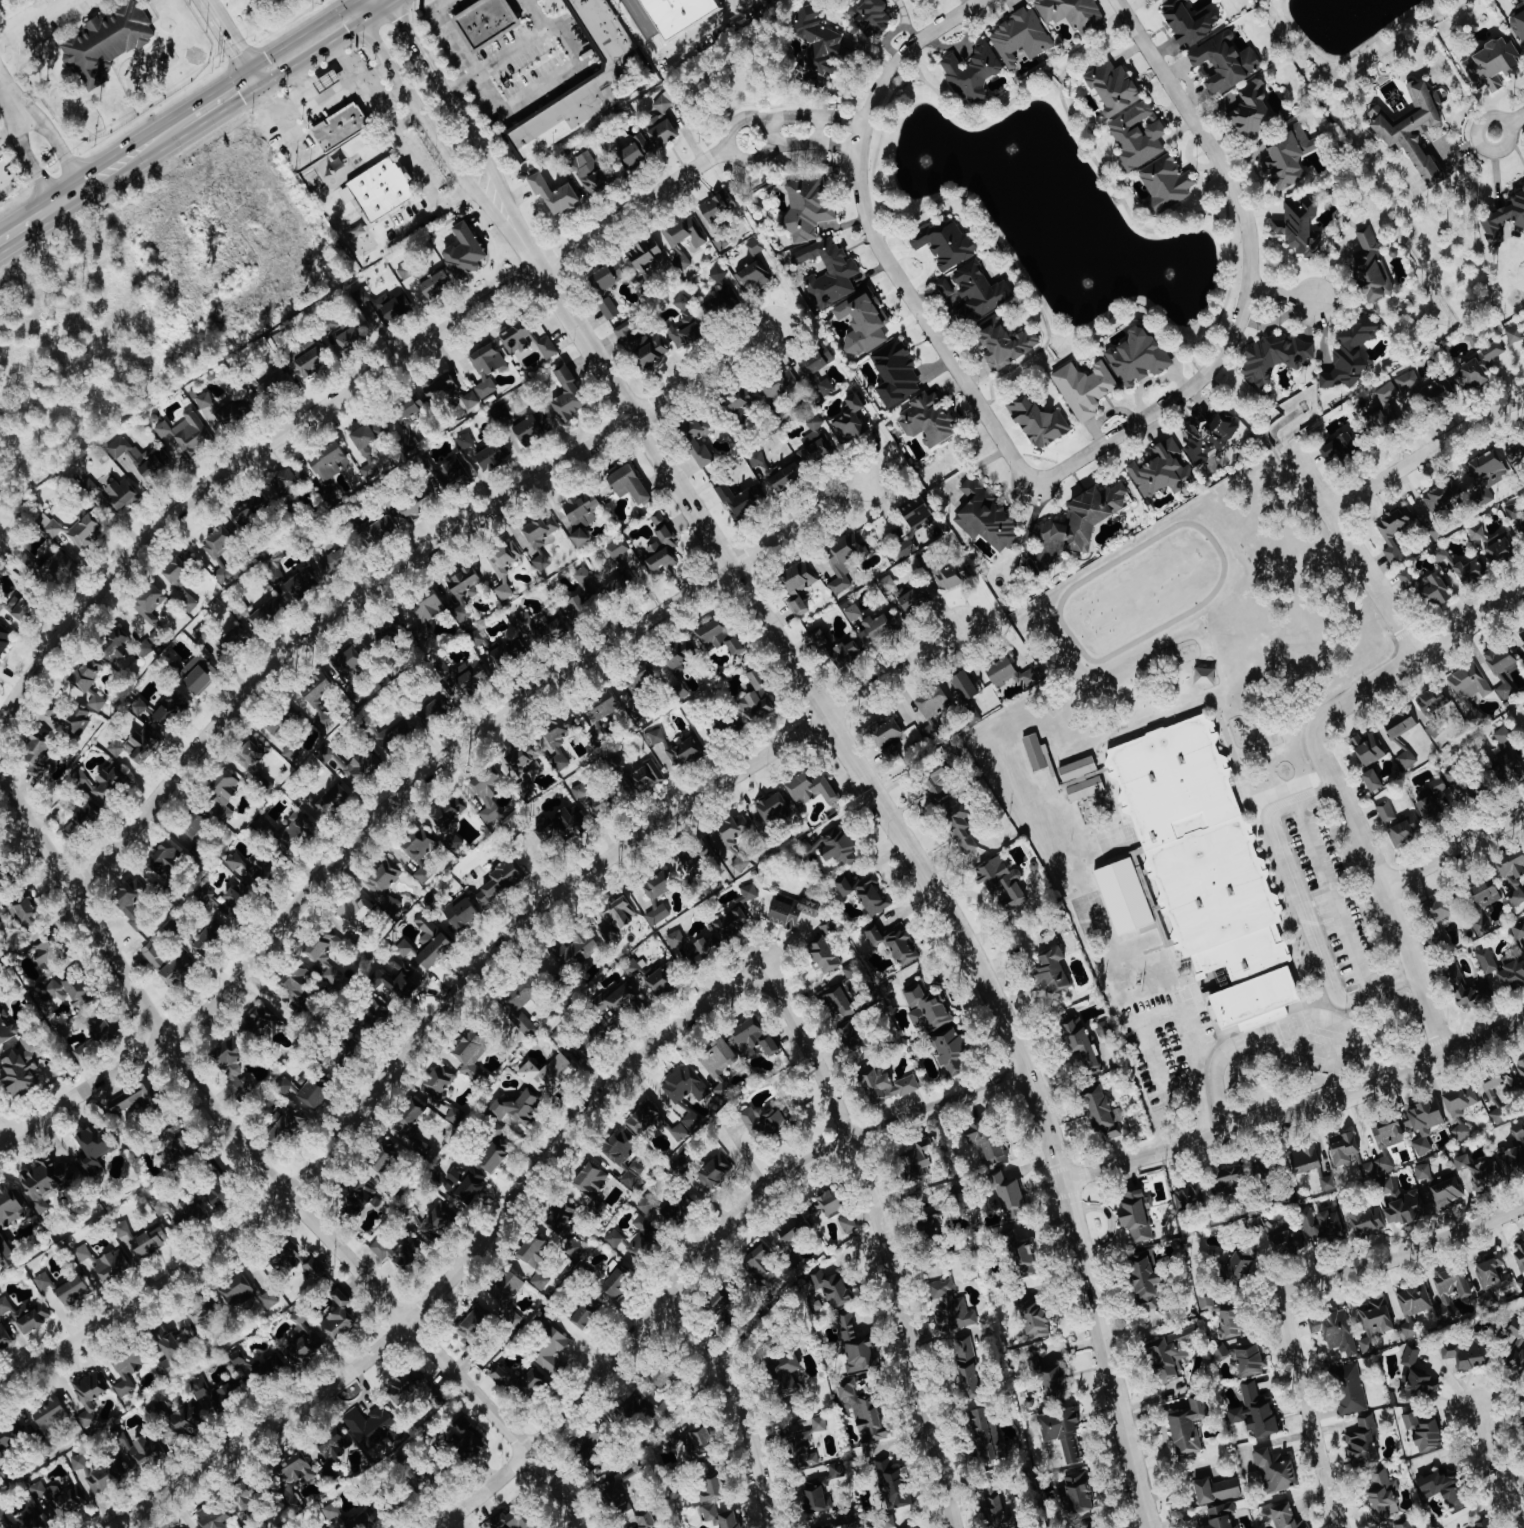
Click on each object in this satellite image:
road: (350, 1)
building: (914, 1)
building: (1158, 1)
traffic signals: (349, 2)
road: (388, 4)
road: (397, 4)
traffic signals: (391, 8)
road: (356, 14)
building: (1072, 14)
building: (683, 15)
building: (872, 16)
road: (377, 17)
building: (642, 18)
road: (34, 21)
building: (487, 22)
building: (1189, 22)
building: (1519, 25)
traffic signals: (364, 26)
building: (1022, 38)
building: (107, 43)
road: (376, 45)
road: (235, 46)
building: (820, 48)
road: (511, 50)
road: (313, 59)
building: (1226, 63)
building: (1493, 65)
traffic signals: (248, 66)
building: (973, 74)
road: (365, 82)
building: (583, 85)
road: (345, 87)
building: (1114, 88)
road: (212, 89)
road: (376, 91)
road: (448, 91)
traffic signals: (263, 93)
road: (12, 100)
road: (297, 104)
building: (1254, 112)
road: (223, 116)
road: (788, 116)
road: (841, 121)
road: (1514, 121)
building: (662, 124)
road: (12, 128)
building: (341, 128)
road: (817, 129)
road: (432, 131)
building: (1416, 133)
road: (728, 134)
building: (1139, 136)
road: (839, 140)
road: (793, 143)
road: (58, 148)
road: (1488, 149)
building: (637, 152)
building: (1290, 158)
road: (31, 165)
road: (135, 165)
building: (589, 173)
road: (422, 175)
building: (1168, 183)
building: (379, 190)
building: (555, 196)
building: (808, 207)
building: (715, 208)
road: (42, 214)
building: (1504, 220)
building: (1301, 227)
road: (876, 238)
building: (683, 239)
building: (723, 242)
building: (755, 247)
building: (465, 253)
building: (646, 254)
building: (844, 270)
building: (1372, 270)
building: (406, 272)
building: (719, 274)
building: (610, 275)
road: (1250, 276)
building: (752, 277)
building: (436, 286)
building: (946, 288)
building: (981, 290)
road: (1282, 294)
building: (683, 303)
building: (609, 308)
building: (863, 325)
building: (685, 333)
building: (346, 334)
building: (1515, 335)
building: (527, 340)
building: (643, 345)
building: (1007, 345)
building: (1352, 353)
building: (1139, 357)
building: (309, 358)
building: (1275, 358)
building: (1482, 364)
building: (488, 368)
building: (814, 374)
building: (897, 374)
building: (274, 384)
building: (780, 385)
building: (440, 387)
building: (1086, 388)
building: (569, 396)
building: (739, 400)
building: (1392, 403)
road: (336, 404)
building: (223, 410)
building: (407, 411)
building: (928, 420)
road: (1250, 420)
building: (851, 421)
building: (1040, 422)
building: (529, 429)
building: (1210, 436)
building: (699, 439)
building: (466, 442)
building: (816, 444)
building: (1342, 447)
road: (1424, 454)
building: (367, 455)
building: (1517, 455)
building: (472, 457)
building: (491, 457)
building: (138, 458)
building: (757, 459)
building: (330, 462)
building: (454, 474)
building: (1488, 475)
building: (788, 477)
building: (289, 481)
building: (630, 484)
building: (122, 494)
building: (1443, 496)
building: (739, 498)
building: (417, 505)
building: (583, 508)
building: (250, 511)
building: (1515, 512)
building: (919, 514)
building: (987, 517)
building: (1085, 518)
building: (658, 519)
building: (49, 525)
building: (380, 531)
building: (541, 531)
building: (85, 532)
building: (1395, 532)
building: (1438, 532)
building: (1477, 534)
building: (581, 538)
building: (618, 549)
building: (907, 549)
building: (1501, 549)
building: (219, 551)
building: (662, 551)
road: (1352, 551)
building: (1442, 555)
building: (337, 560)
building: (843, 561)
building: (542, 563)
building: (273, 567)
building: (1472, 571)
road: (397, 574)
building: (583, 575)
building: (952, 575)
building: (502, 577)
building: (464, 581)
building: (302, 585)
building: (888, 585)
building: (621, 586)
building: (179, 587)
building: (798, 587)
building: (1429, 590)
building: (916, 600)
building: (150, 604)
building: (17, 609)
building: (578, 609)
building: (462, 612)
building: (854, 613)
building: (269, 615)
building: (425, 615)
building: (879, 629)
building: (541, 631)
building: (202, 635)
building: (387, 635)
building: (157, 636)
building: (1522, 636)
building: (720, 638)
building: (819, 638)
building: (4, 640)
building: (234, 641)
building: (117, 647)
building: (145, 648)
building: (507, 654)
building: (847, 654)
building: (677, 657)
road: (1416, 657)
building: (1501, 660)
building: (349, 662)
building: (1003, 672)
building: (199, 674)
building: (467, 677)
building: (1030, 678)
building: (643, 679)
building: (88, 683)
building: (1470, 683)
building: (966, 686)
building: (317, 688)
building: (758, 700)
building: (1434, 701)
building: (934, 702)
building: (138, 707)
building: (601, 708)
building: (435, 709)
building: (168, 713)
building: (68, 718)
building: (323, 720)
building: (1401, 723)
building: (275, 725)
building: (887, 732)
building: (931, 732)
building: (1504, 736)
building: (391, 737)
building: (656, 737)
building: (1523, 741)
building: (556, 742)
building: (136, 746)
building: (1369, 749)
building: (291, 751)
building: (686, 753)
building: (1037, 753)
building: (252, 754)
building: (893, 754)
building: (326, 755)
building: (35, 756)
building: (522, 758)
building: (1408, 760)
building: (361, 768)
building: (1509, 768)
building: (1079, 769)
building: (646, 778)
building: (1374, 781)
building: (102, 783)
building: (940, 785)
building: (1086, 789)
road: (415, 790)
building: (812, 790)
building: (488, 793)
building: (223, 795)
building: (593, 801)
building: (774, 808)
building: (1431, 810)
building: (449, 812)
building: (1387, 812)
building: (82, 821)
road: (891, 822)
building: (195, 826)
building: (562, 826)
building: (291, 831)
building: (1406, 832)
building: (966, 834)
building: (735, 839)
building: (455, 843)
building: (839, 846)
road: (1454, 852)
building: (421, 853)
building: (165, 860)
building: (1206, 868)
building: (251, 871)
building: (4, 873)
building: (1514, 875)
building: (500, 882)
building: (1004, 882)
building: (384, 885)
building: (845, 886)
building: (134, 893)
building: (749, 893)
road: (1384, 893)
building: (1487, 895)
building: (871, 896)
building: (658, 897)
building: (234, 899)
building: (1441, 909)
road: (1301, 911)
building: (355, 912)
building: (796, 912)
building: (462, 913)
building: (27, 915)
building: (616, 919)
building: (734, 923)
building: (1481, 926)
building: (829, 929)
building: (1519, 931)
building: (208, 940)
building: (895, 944)
building: (406, 948)
building: (579, 949)
building: (695, 949)
building: (436, 952)
building: (50, 954)
building: (154, 955)
building: (824, 955)
building: (325, 957)
building: (1488, 961)
building: (633, 967)
building: (1, 969)
building: (852, 971)
building: (175, 972)
building: (1053, 972)
building: (1512, 973)
building: (396, 980)
building: (660, 982)
building: (298, 983)
road: (459, 988)
building: (1469, 990)
building: (69, 993)
building: (837, 1001)
building: (620, 1003)
building: (523, 1004)
building: (928, 1008)
road: (1176, 1008)
building: (376, 1015)
road: (1270, 1035)
building: (854, 1037)
building: (755, 1038)
building: (97, 1040)
building: (1082, 1041)
building: (347, 1052)
building: (952, 1052)
building: (1521, 1067)
building: (21, 1068)
building: (234, 1070)
building: (550, 1074)
building: (437, 1085)
building: (889, 1085)
building: (305, 1091)
building: (685, 1093)
building: (1462, 1100)
building: (136, 1101)
building: (519, 1108)
building: (1103, 1110)
road: (1297, 1112)
building: (455, 1116)
building: (1499, 1116)
building: (645, 1120)
building: (763, 1122)
building: (1424, 1125)
building: (411, 1126)
building: (287, 1129)
building: (497, 1131)
building: (1461, 1131)
building: (1519, 1133)
building: (1390, 1134)
road: (2, 1137)
building: (183, 1141)
building: (987, 1147)
building: (621, 1148)
building: (1345, 1148)
building: (94, 1150)
building: (495, 1157)
building: (1307, 1160)
building: (920, 1161)
building: (1514, 1163)
building: (384, 1164)
building: (1377, 1169)
road: (264, 1170)
building: (1423, 1172)
building: (1481, 1173)
building: (634, 1174)
building: (714, 1174)
building: (592, 1180)
building: (1329, 1183)
building: (48, 1184)
building: (465, 1185)
building: (1445, 1192)
building: (218, 1194)
building: (360, 1196)
building: (1011, 1198)
building: (1191, 1199)
building: (833, 1203)
building: (1403, 1204)
building: (936, 1213)
building: (180, 1214)
building: (1137, 1216)
building: (437, 1221)
building: (1368, 1221)
building: (9, 1224)
building: (849, 1224)
building: (1323, 1225)
building: (566, 1229)
building: (793, 1230)
building: (615, 1239)
road: (881, 1239)
building: (142, 1240)
building: (642, 1242)
building: (397, 1253)
road: (700, 1253)
building: (1024, 1257)
road: (1379, 1258)
building: (1521, 1259)
building: (300, 1263)
building: (761, 1263)
building: (104, 1264)
building: (1241, 1264)
road: (459, 1267)
building: (1149, 1280)
building: (44, 1282)
building: (619, 1283)
building: (1521, 1283)
building: (1453, 1285)
building: (74, 1290)
building: (834, 1291)
building: (238, 1292)
building: (510, 1299)
building: (269, 1300)
building: (1207, 1302)
building: (723, 1306)
building: (1415, 1307)
building: (952, 1308)
building: (1445, 1312)
building: (202, 1314)
building: (27, 1315)
building: (339, 1317)
building: (583, 1318)
building: (1036, 1319)
building: (1375, 1323)
building: (1232, 1325)
building: (474, 1328)
building: (1336, 1332)
building: (4, 1337)
building: (303, 1341)
building: (1517, 1345)
building: (856, 1347)
building: (1174, 1351)
building: (551, 1353)
building: (169, 1355)
building: (1243, 1357)
building: (1468, 1357)
building: (258, 1367)
building: (968, 1367)
building: (128, 1371)
building: (787, 1375)
building: (502, 1376)
building: (663, 1377)
building: (1418, 1381)
building: (531, 1383)
building: (1054, 1383)
building: (1350, 1389)
building: (416, 1394)
building: (217, 1395)
building: (90, 1396)
building: (1522, 1403)
road: (736, 1405)
building: (666, 1411)
building: (865, 1413)
building: (1256, 1413)
building: (51, 1414)
building: (186, 1421)
building: (820, 1425)
building: (1188, 1425)
building: (373, 1429)
building: (1425, 1432)
building: (1064, 1434)
building: (13, 1436)
building: (991, 1438)
road: (1322, 1438)
building: (465, 1439)
building: (699, 1441)
building: (1364, 1442)
building: (588, 1449)
building: (334, 1450)
building: (138, 1451)
building: (804, 1451)
road: (1501, 1456)
building: (440, 1472)
building: (1276, 1472)
building: (96, 1477)
building: (293, 1480)
building: (893, 1484)
building: (822, 1490)
building: (1447, 1490)
building: (1080, 1491)
building: (1218, 1491)
building: (1384, 1497)
building: (246, 1499)
building: (626, 1505)
building: (717, 1505)
building: (48, 1507)
building: (998, 1508)
building: (332, 1512)
building: (1222, 1516)
building: (213, 1517)
building: (1283, 1517)
building: (360, 1521)
building: (1405, 1523)
building: (1482, 1523)
building: (1091, 1525)
building: (831, 1527)
building: (919, 1527)

